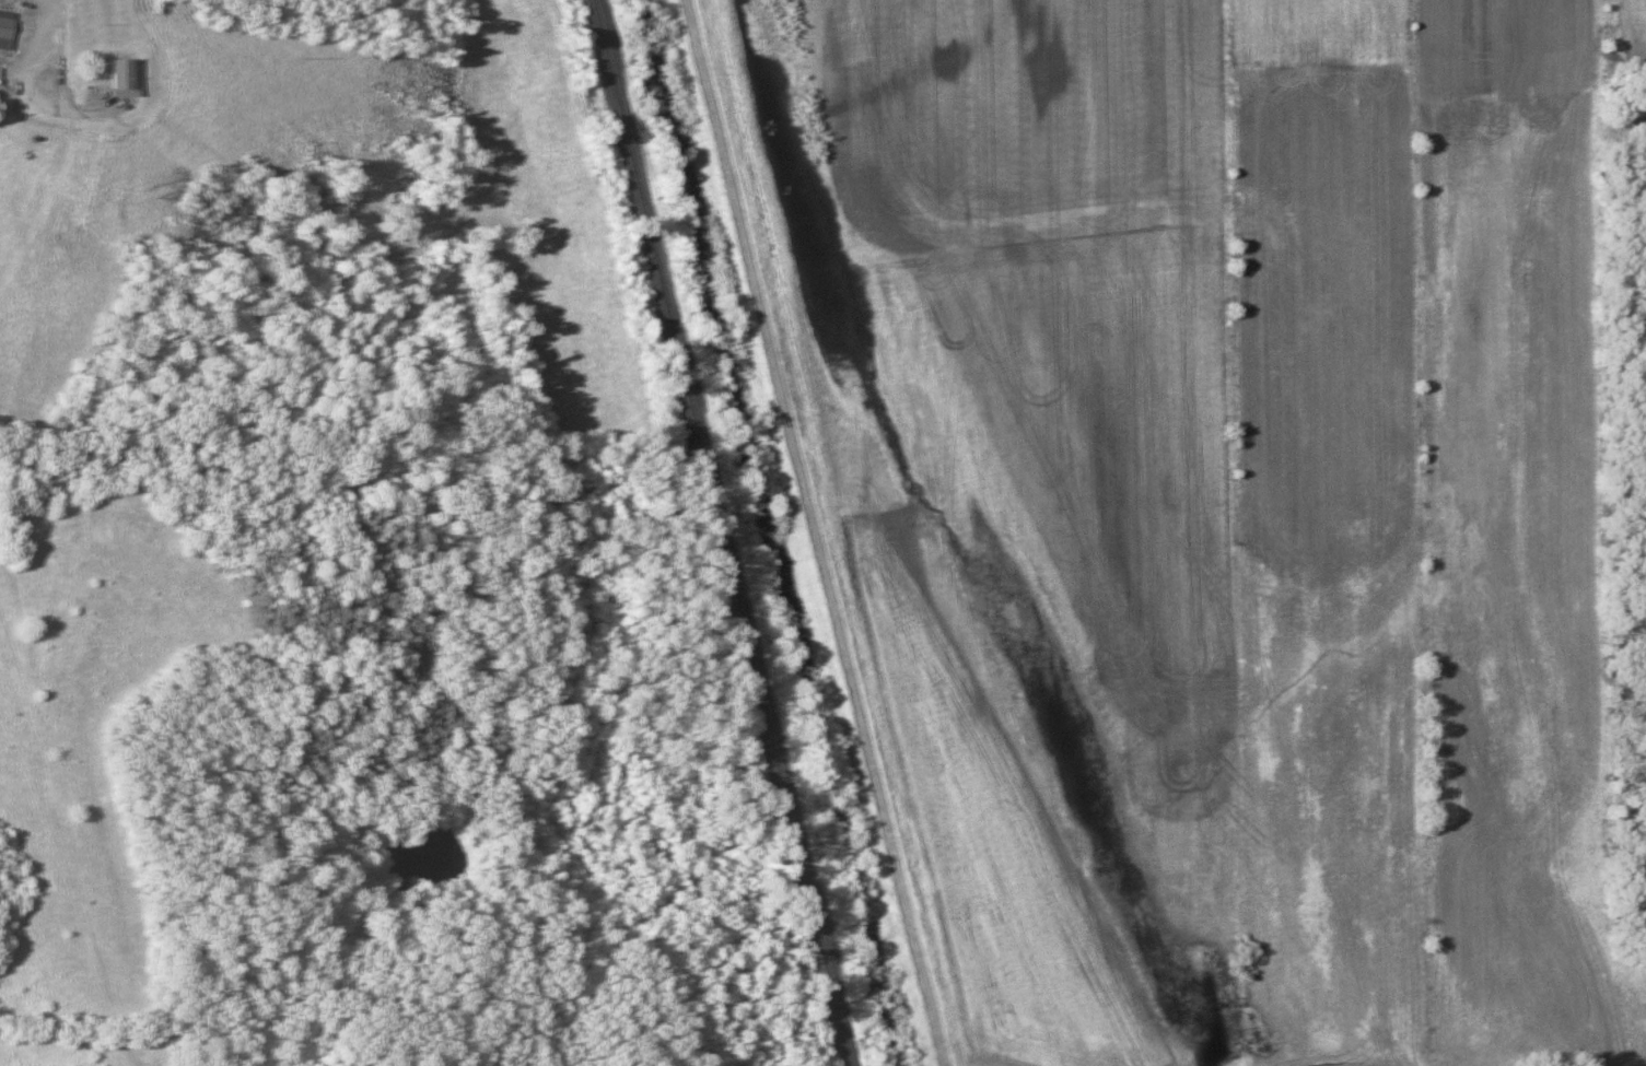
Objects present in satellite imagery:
building: (2, 27)
building: (43, 69)
road: (72, 138)
railway: (725, 532)
road: (82, 837)

